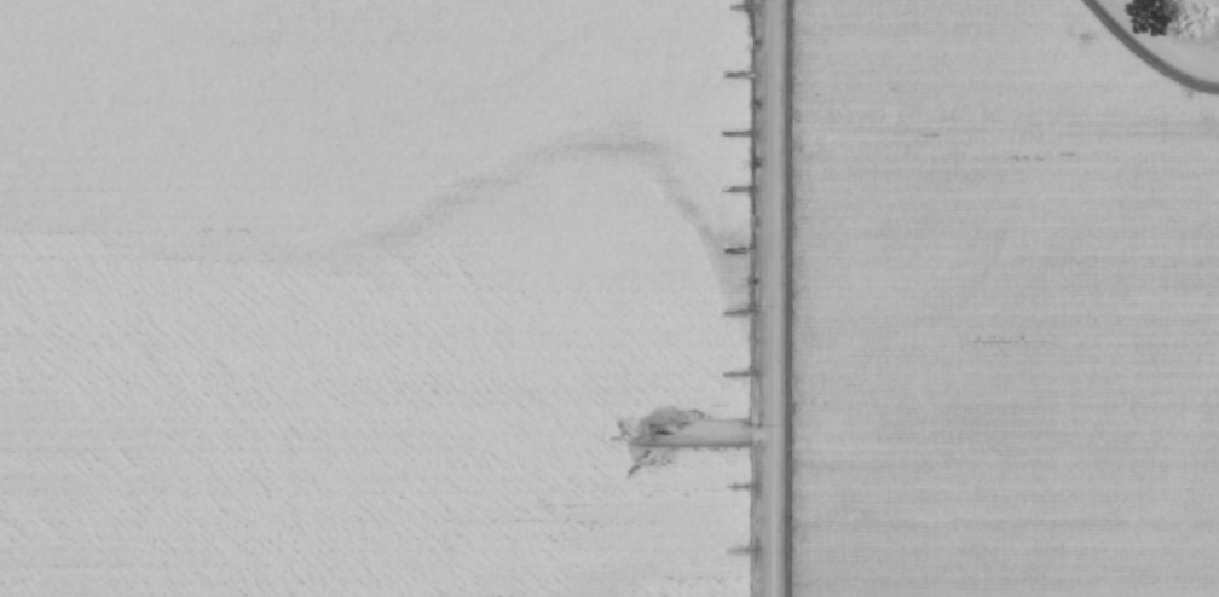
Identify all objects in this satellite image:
road: (1117, 12)
road: (770, 298)

